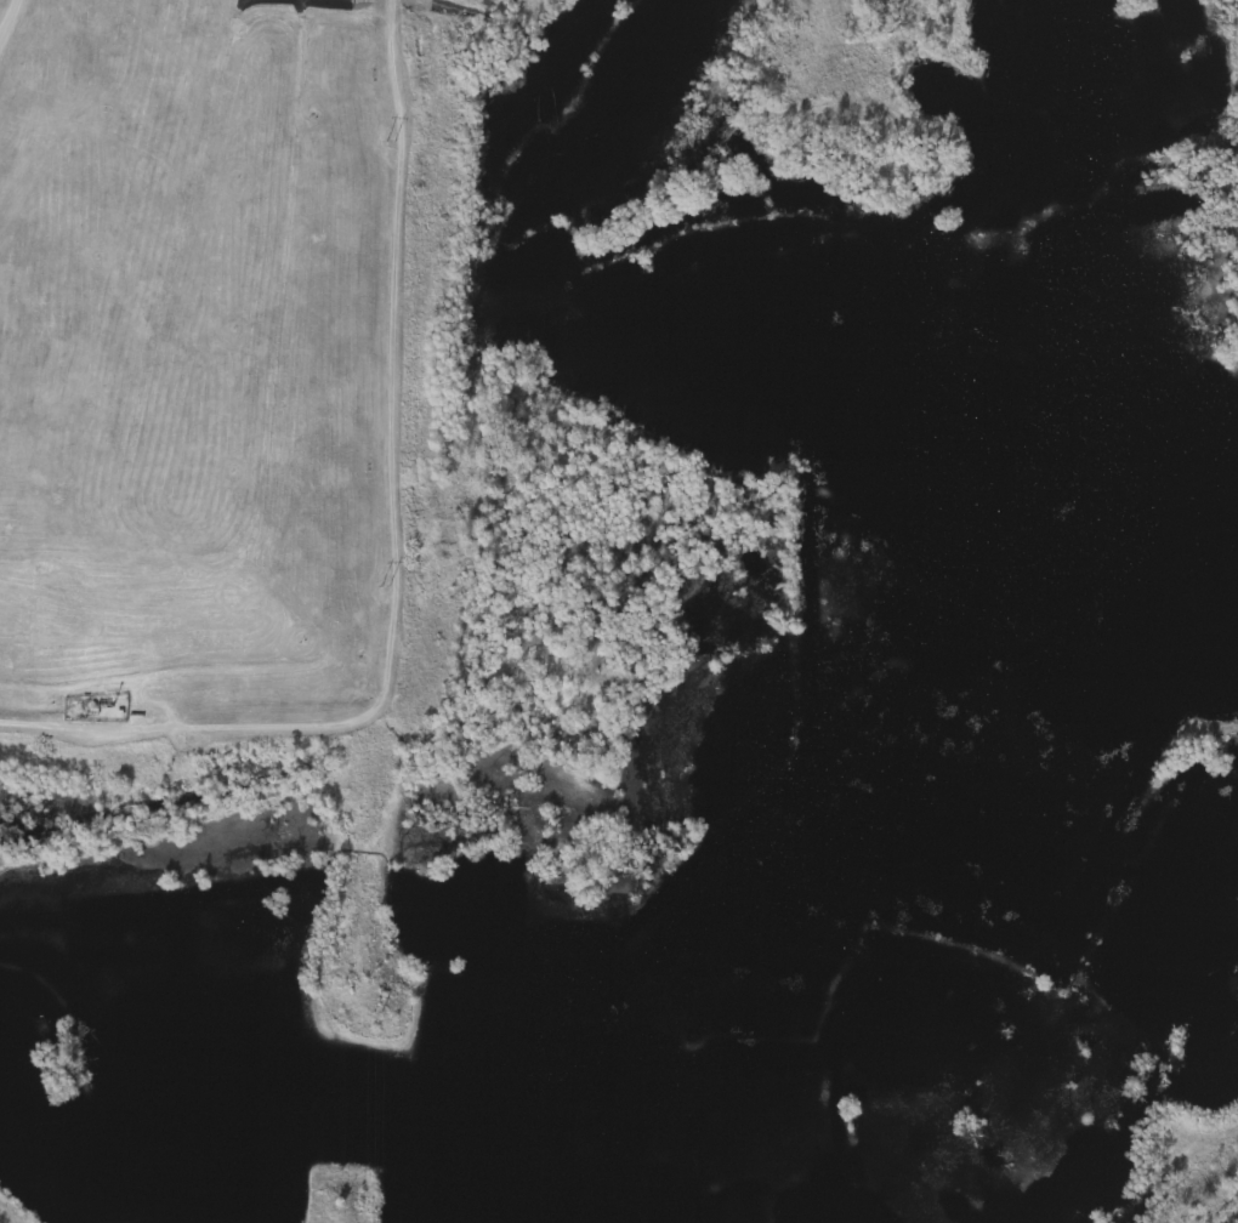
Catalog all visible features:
road: (10, 21)
road: (393, 544)

